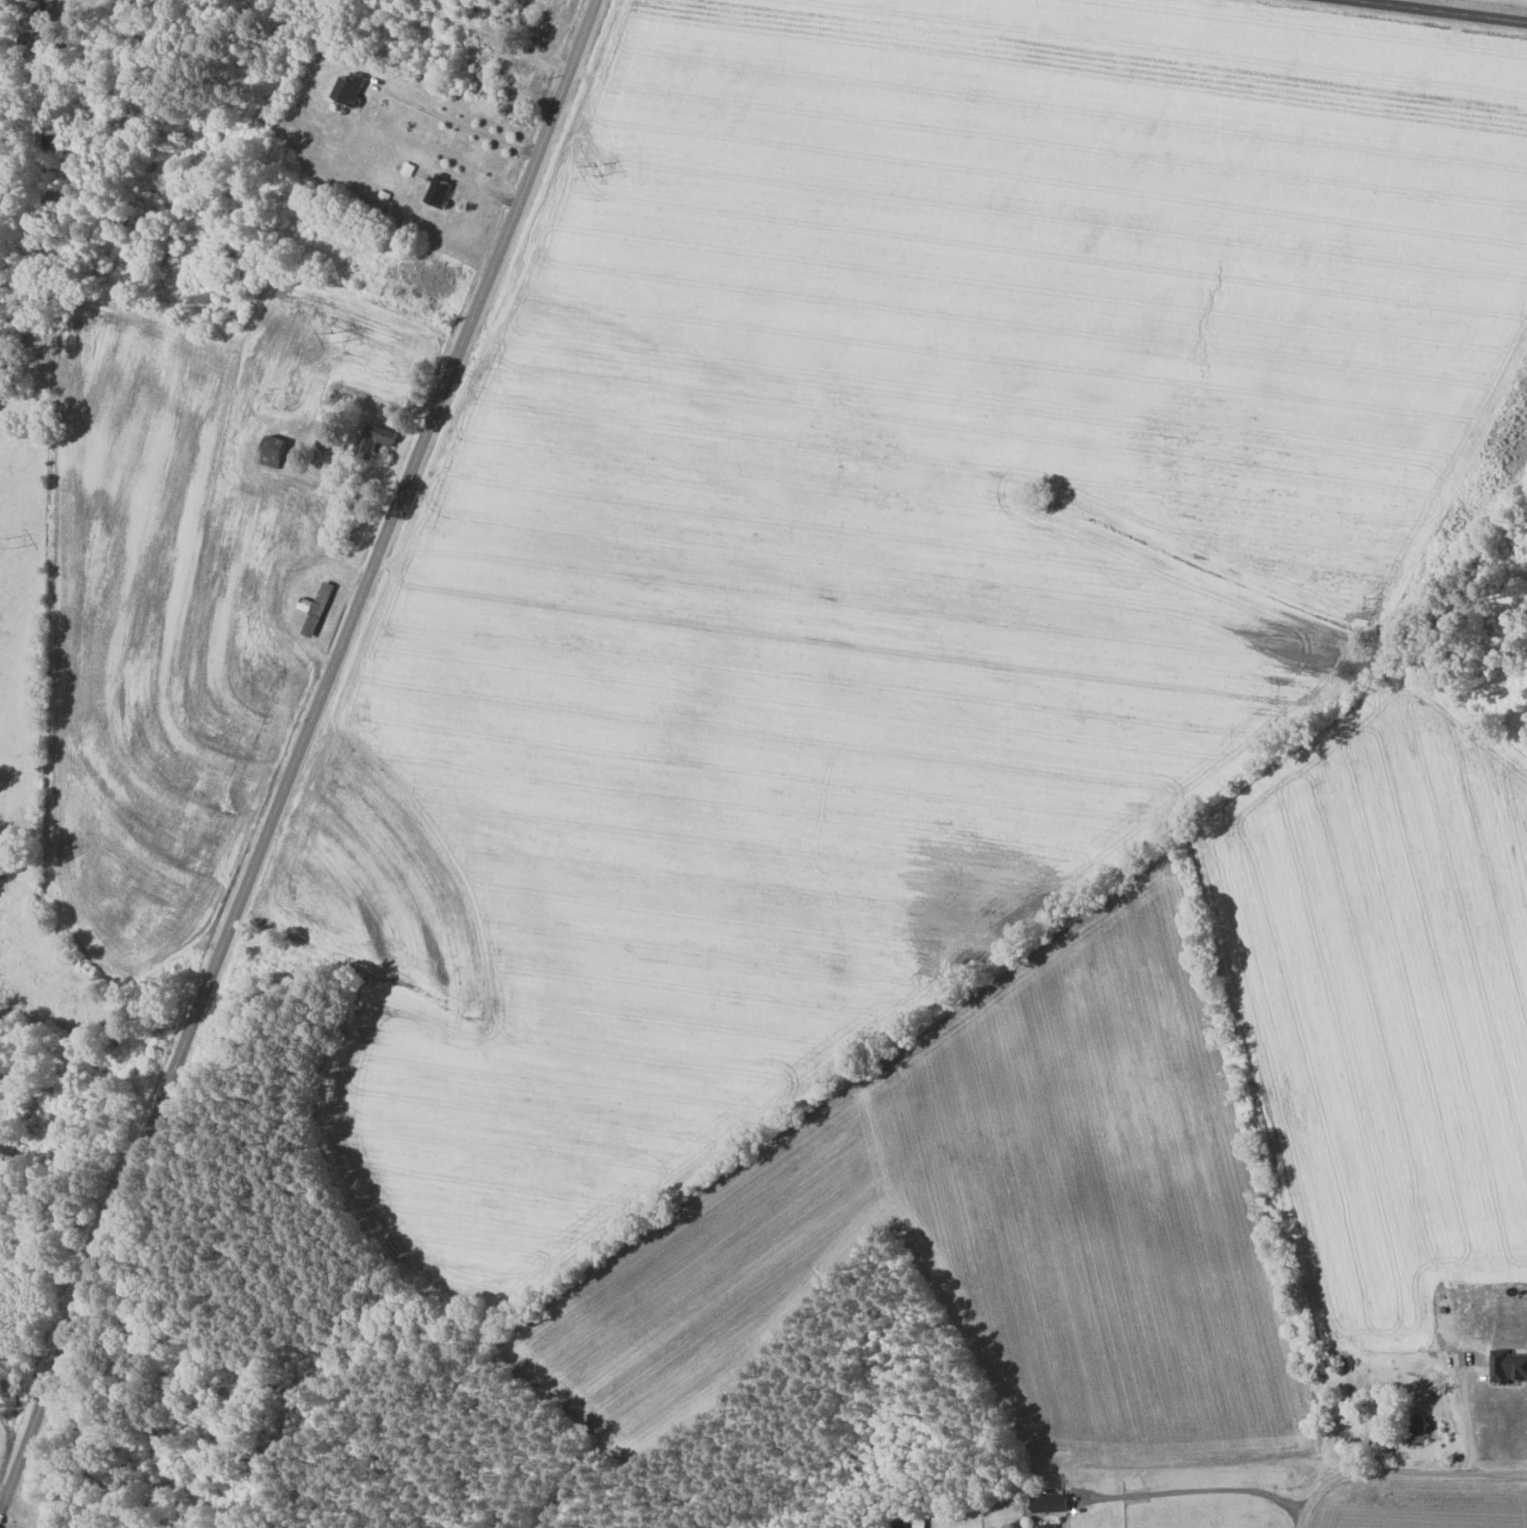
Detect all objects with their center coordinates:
road: (1436, 11)
building: (351, 88)
road: (454, 123)
power tower: (596, 177)
building: (440, 191)
power tower: (332, 331)
building: (375, 440)
building: (274, 451)
road: (391, 521)
power tower: (8, 541)
building: (318, 609)
road: (92, 1274)
building: (1510, 1365)
road: (1467, 1413)
building: (1419, 1430)
road: (1399, 1473)
road: (1230, 1488)
building: (1053, 1502)
building: (1051, 1525)

